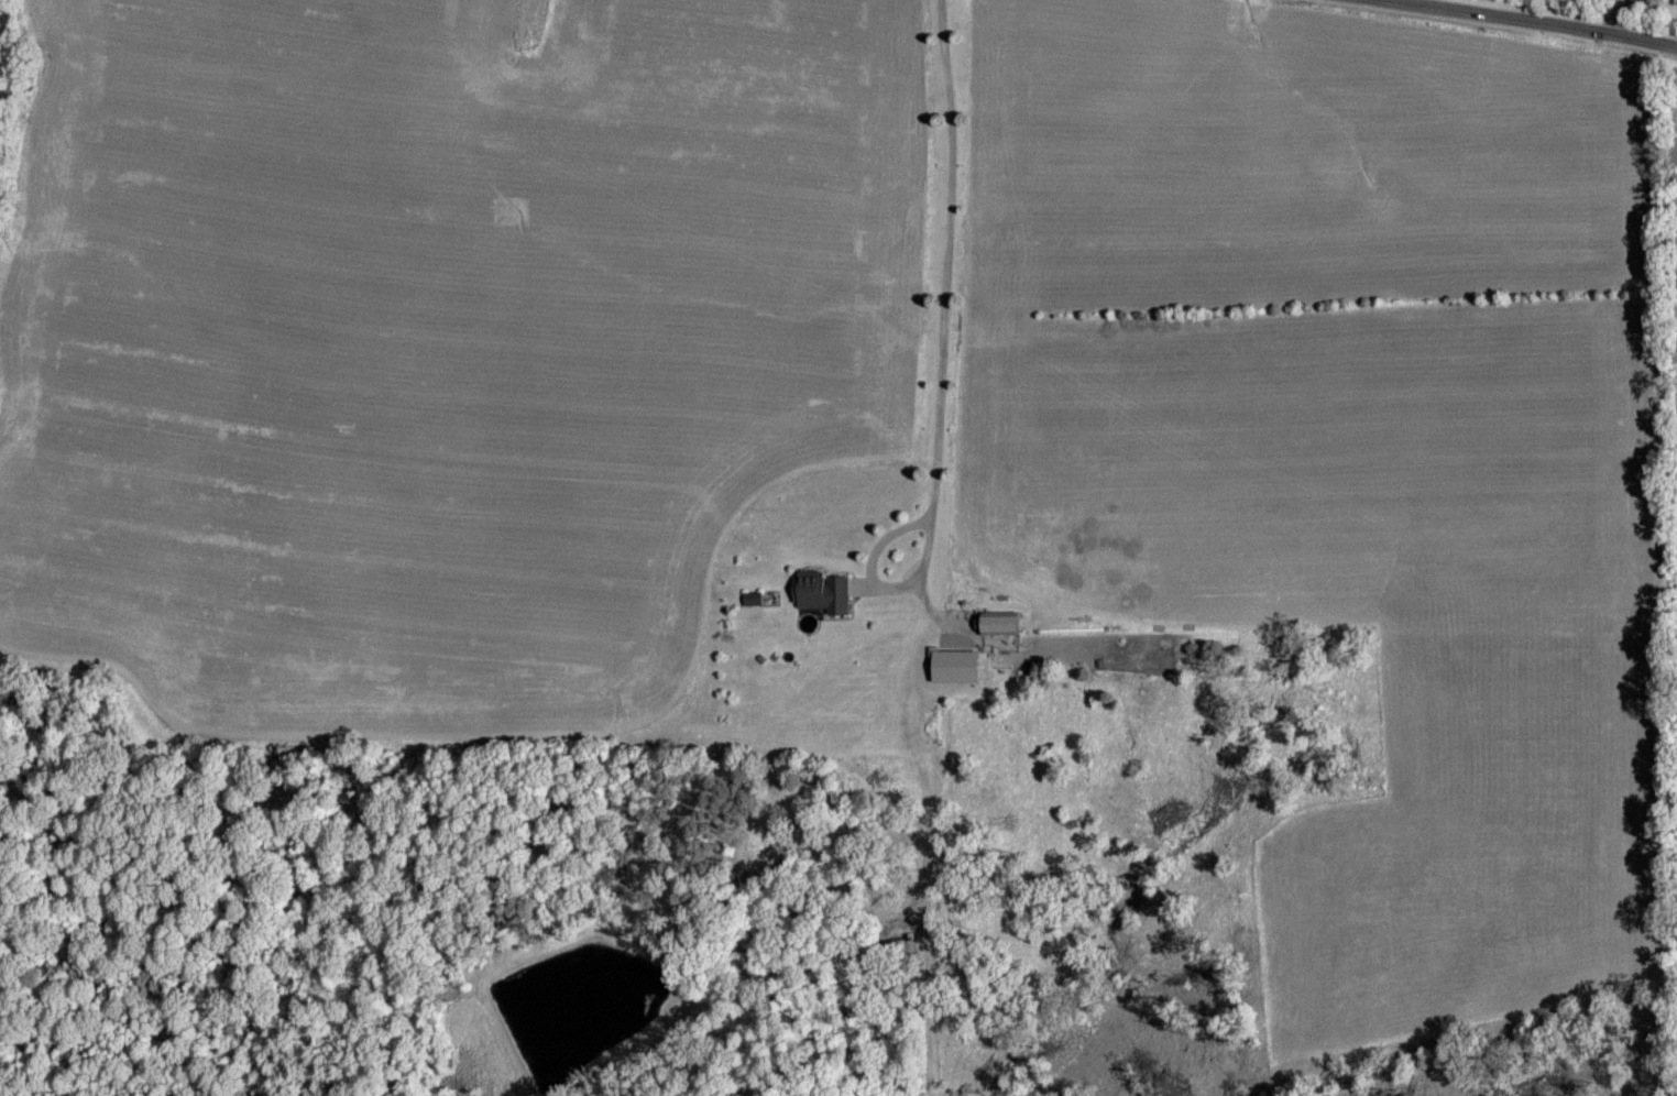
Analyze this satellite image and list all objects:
road: (1626, 15)
road: (1552, 19)
road: (945, 346)
building: (820, 593)
building: (749, 600)
building: (997, 624)
building: (953, 667)

